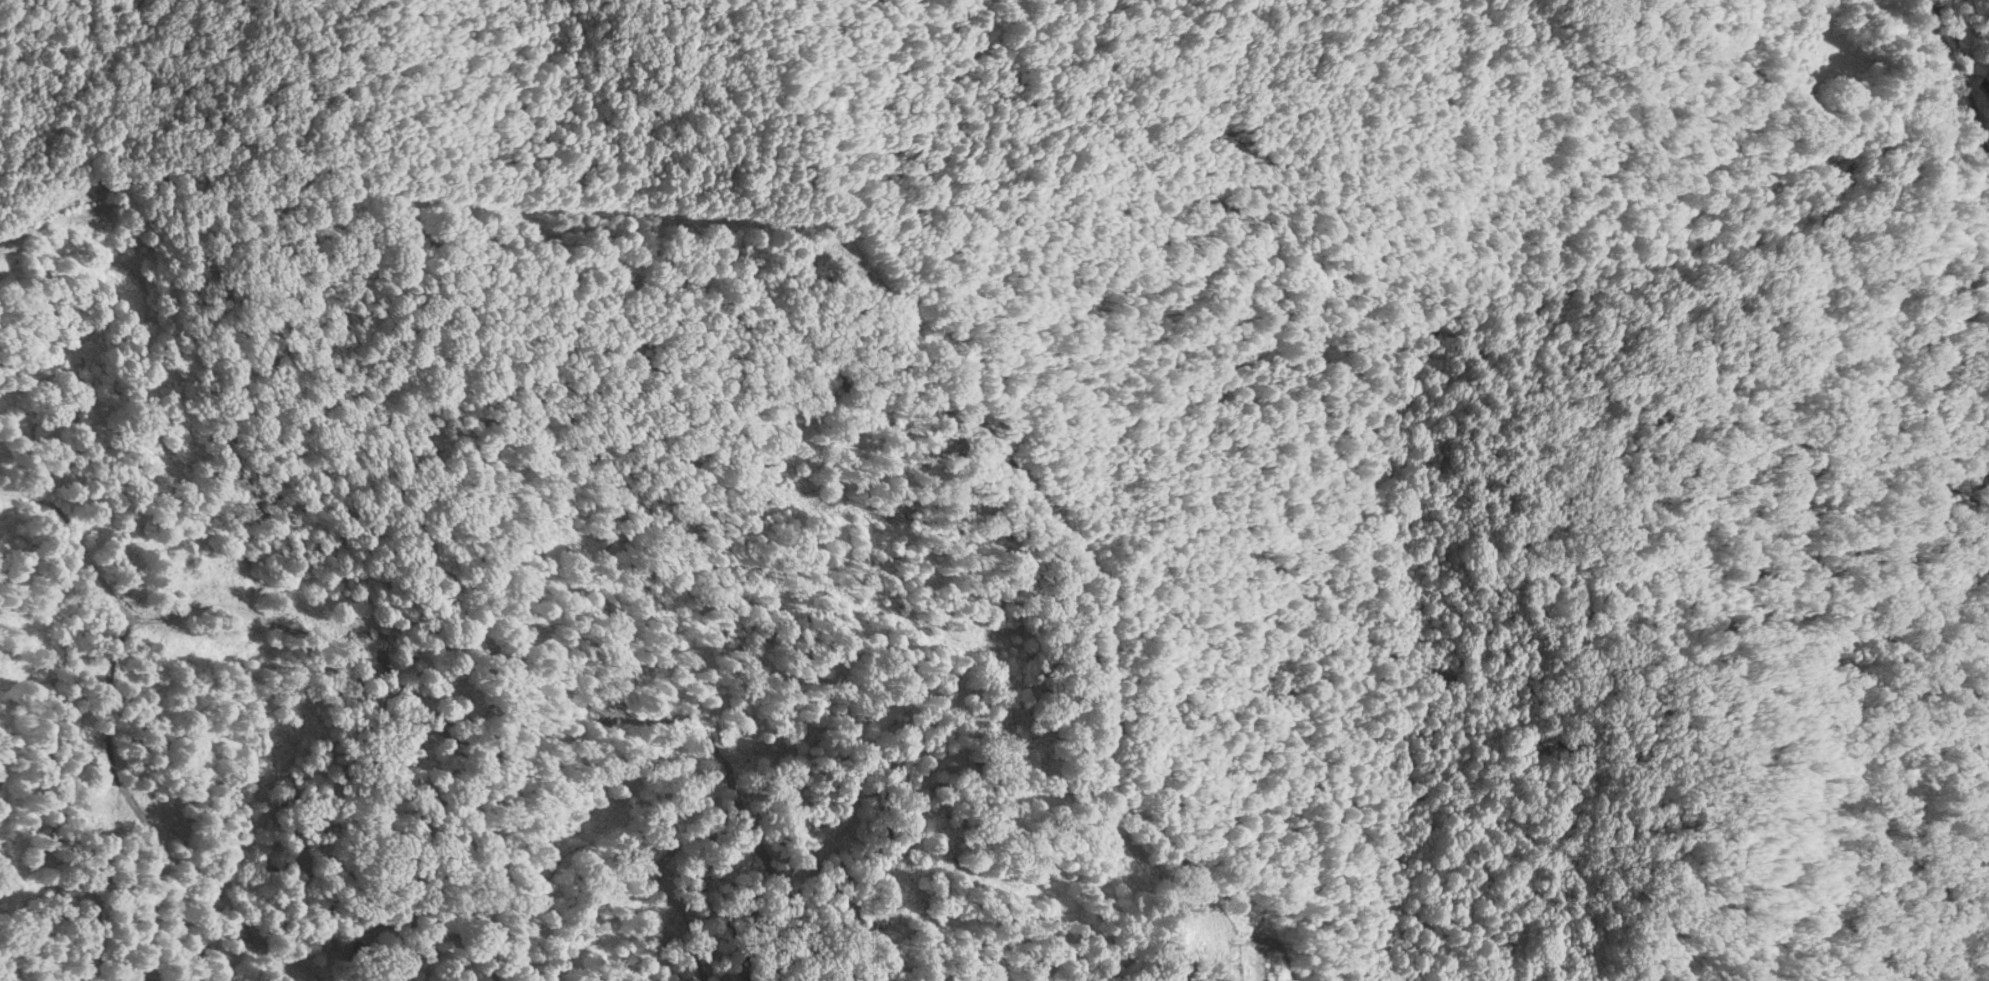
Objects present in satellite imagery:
building: (1795, 95)

